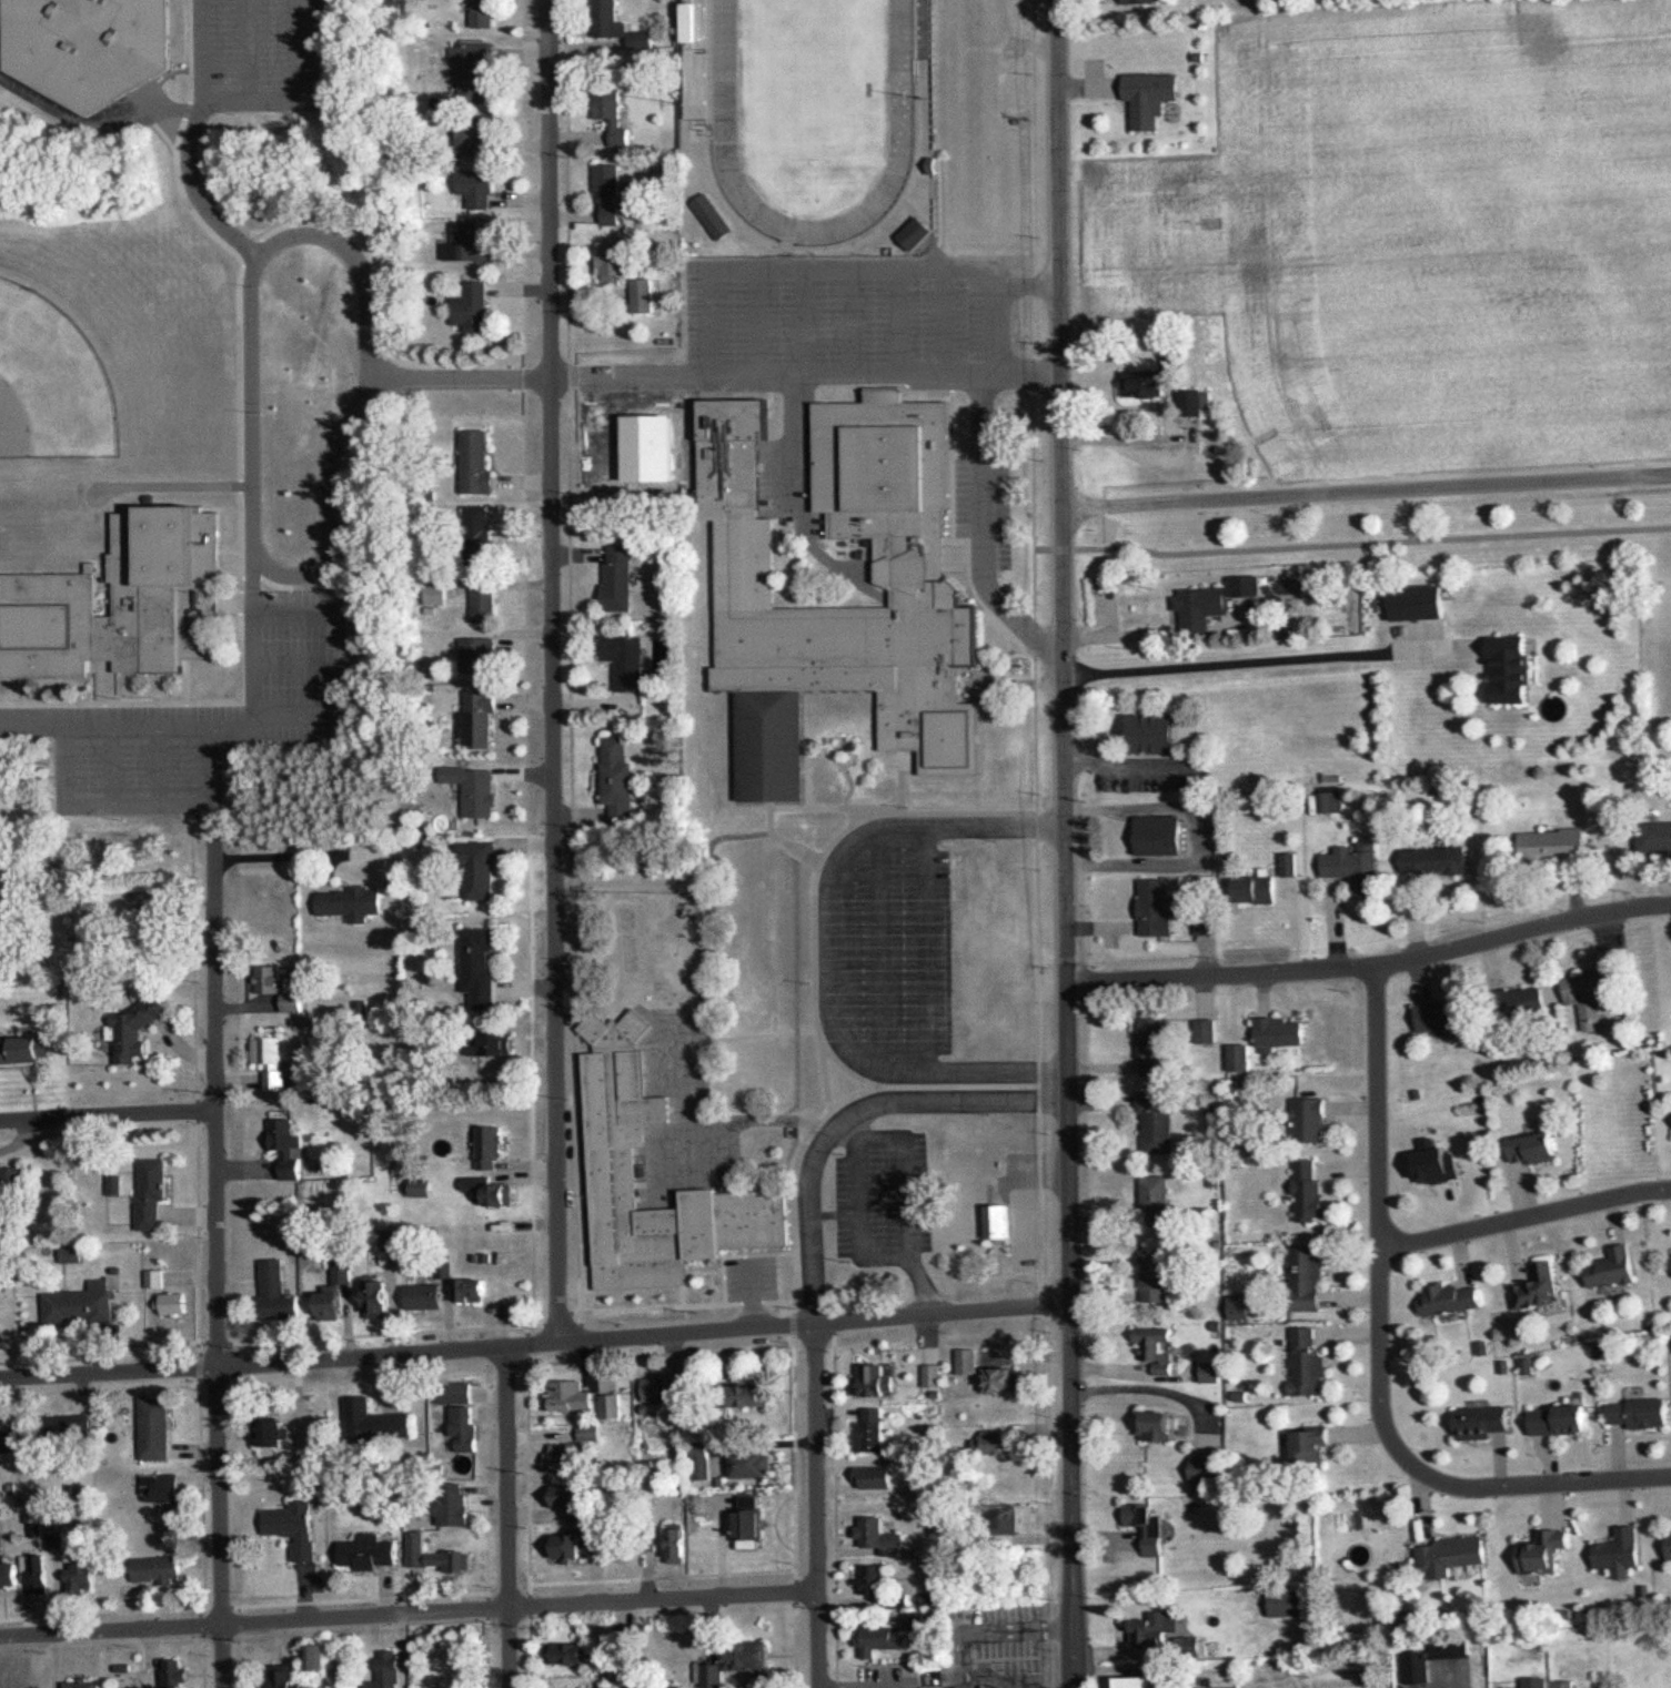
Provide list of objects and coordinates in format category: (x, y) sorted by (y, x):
building: (1142, 1)
building: (483, 13)
building: (608, 19)
building: (692, 21)
building: (88, 36)
building: (641, 40)
building: (474, 71)
track: (722, 71)
building: (697, 97)
building: (1150, 98)
building: (613, 115)
building: (476, 138)
building: (479, 188)
building: (610, 192)
building: (915, 233)
building: (470, 244)
building: (614, 262)
road: (840, 263)
road: (1023, 280)
building: (643, 294)
road: (225, 299)
building: (472, 305)
road: (763, 372)
building: (1147, 384)
building: (1192, 403)
road: (786, 436)
building: (476, 462)
road: (978, 487)
road: (1366, 491)
park: (1406, 514)
building: (477, 530)
building: (621, 578)
building: (924, 597)
building: (120, 602)
building: (1419, 602)
building: (485, 604)
building: (1202, 606)
building: (480, 655)
building: (627, 660)
road: (1241, 660)
road: (551, 669)
building: (1510, 669)
building: (482, 717)
building: (1157, 732)
building: (620, 780)
building: (474, 789)
building: (1160, 833)
road: (1197, 836)
building: (1654, 836)
road: (1065, 843)
building: (1552, 843)
building: (1435, 859)
building: (1355, 863)
building: (476, 870)
building: (1256, 889)
building: (350, 903)
building: (1155, 908)
building: (1207, 924)
road: (803, 930)
building: (479, 966)
road: (1371, 968)
building: (278, 987)
building: (1591, 992)
building: (1526, 1000)
building: (1439, 1017)
building: (133, 1029)
building: (1205, 1031)
building: (1279, 1032)
building: (494, 1043)
building: (31, 1047)
building: (1152, 1048)
building: (1239, 1058)
building: (271, 1062)
building: (481, 1075)
road: (108, 1114)
building: (1157, 1120)
building: (1309, 1120)
building: (491, 1142)
building: (289, 1146)
building: (1533, 1148)
building: (957, 1162)
building: (613, 1165)
building: (12, 1184)
building: (1309, 1190)
building: (150, 1192)
building: (1156, 1192)
road: (1524, 1217)
building: (998, 1220)
road: (1378, 1220)
road: (217, 1260)
building: (1612, 1266)
building: (1307, 1277)
building: (153, 1278)
building: (1156, 1278)
building: (475, 1287)
building: (1536, 1290)
building: (275, 1292)
building: (376, 1295)
building: (424, 1296)
building: (1451, 1298)
building: (331, 1302)
building: (81, 1303)
building: (173, 1303)
building: (1239, 1306)
road: (534, 1345)
building: (1156, 1347)
building: (968, 1361)
building: (1306, 1362)
building: (1210, 1372)
building: (933, 1375)
building: (877, 1379)
building: (1003, 1379)
building: (653, 1389)
building: (677, 1389)
building: (455, 1392)
building: (748, 1394)
building: (571, 1396)
building: (610, 1406)
building: (1638, 1414)
building: (1560, 1419)
building: (375, 1422)
building: (1482, 1422)
building: (68, 1425)
building: (1157, 1426)
building: (465, 1427)
building: (154, 1428)
building: (870, 1431)
building: (590, 1434)
building: (272, 1437)
building: (8, 1441)
building: (993, 1443)
building: (1312, 1444)
building: (310, 1447)
building: (565, 1457)
building: (699, 1460)
building: (752, 1464)
building: (877, 1476)
road: (1537, 1484)
building: (160, 1488)
building: (570, 1498)
building: (451, 1503)
road: (815, 1505)
road: (507, 1519)
building: (283, 1522)
building: (1007, 1522)
building: (749, 1527)
building: (1146, 1527)
building: (878, 1533)
building: (568, 1546)
building: (677, 1546)
building: (1669, 1546)
building: (1619, 1549)
building: (304, 1553)
building: (370, 1553)
building: (1546, 1553)
building: (435, 1555)
building: (1451, 1555)
building: (157, 1569)
building: (8, 1575)
building: (870, 1578)
building: (79, 1579)
building: (38, 1581)
road: (662, 1601)
building: (1287, 1603)
road: (254, 1623)
building: (1151, 1630)
building: (880, 1642)
building: (572, 1654)
building: (748, 1655)
building: (316, 1656)
building: (1416, 1664)
building: (387, 1670)
building: (177, 1672)
building: (282, 1676)
building: (1141, 1677)
building: (1536, 1682)
building: (82, 1684)
building: (1563, 1684)
building: (969, 1687)

